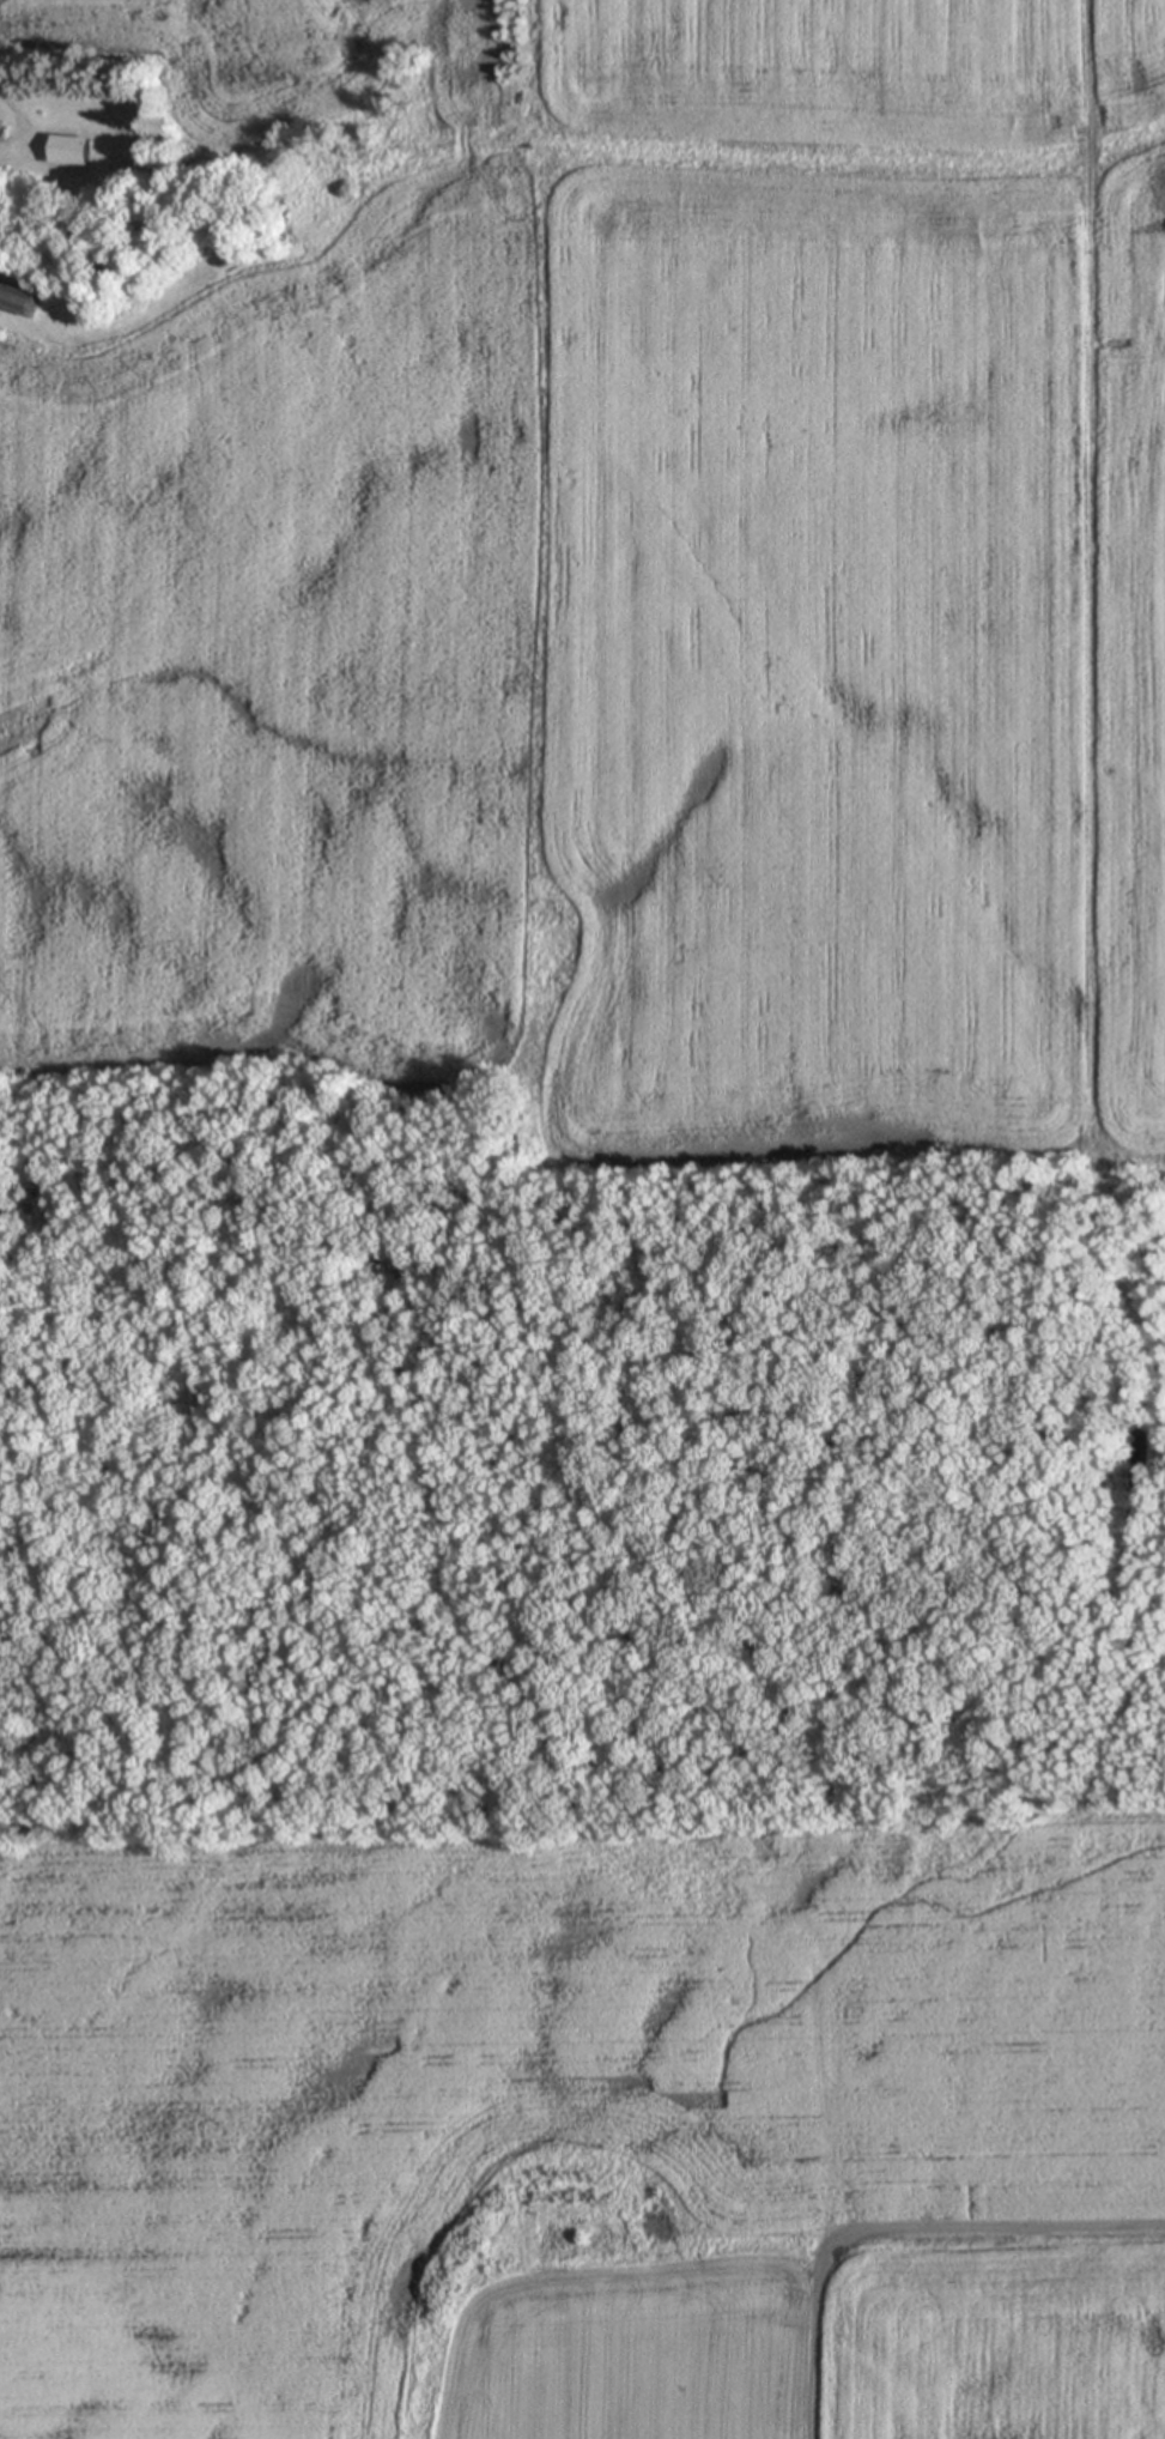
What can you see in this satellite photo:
building: (75, 152)
building: (20, 304)

